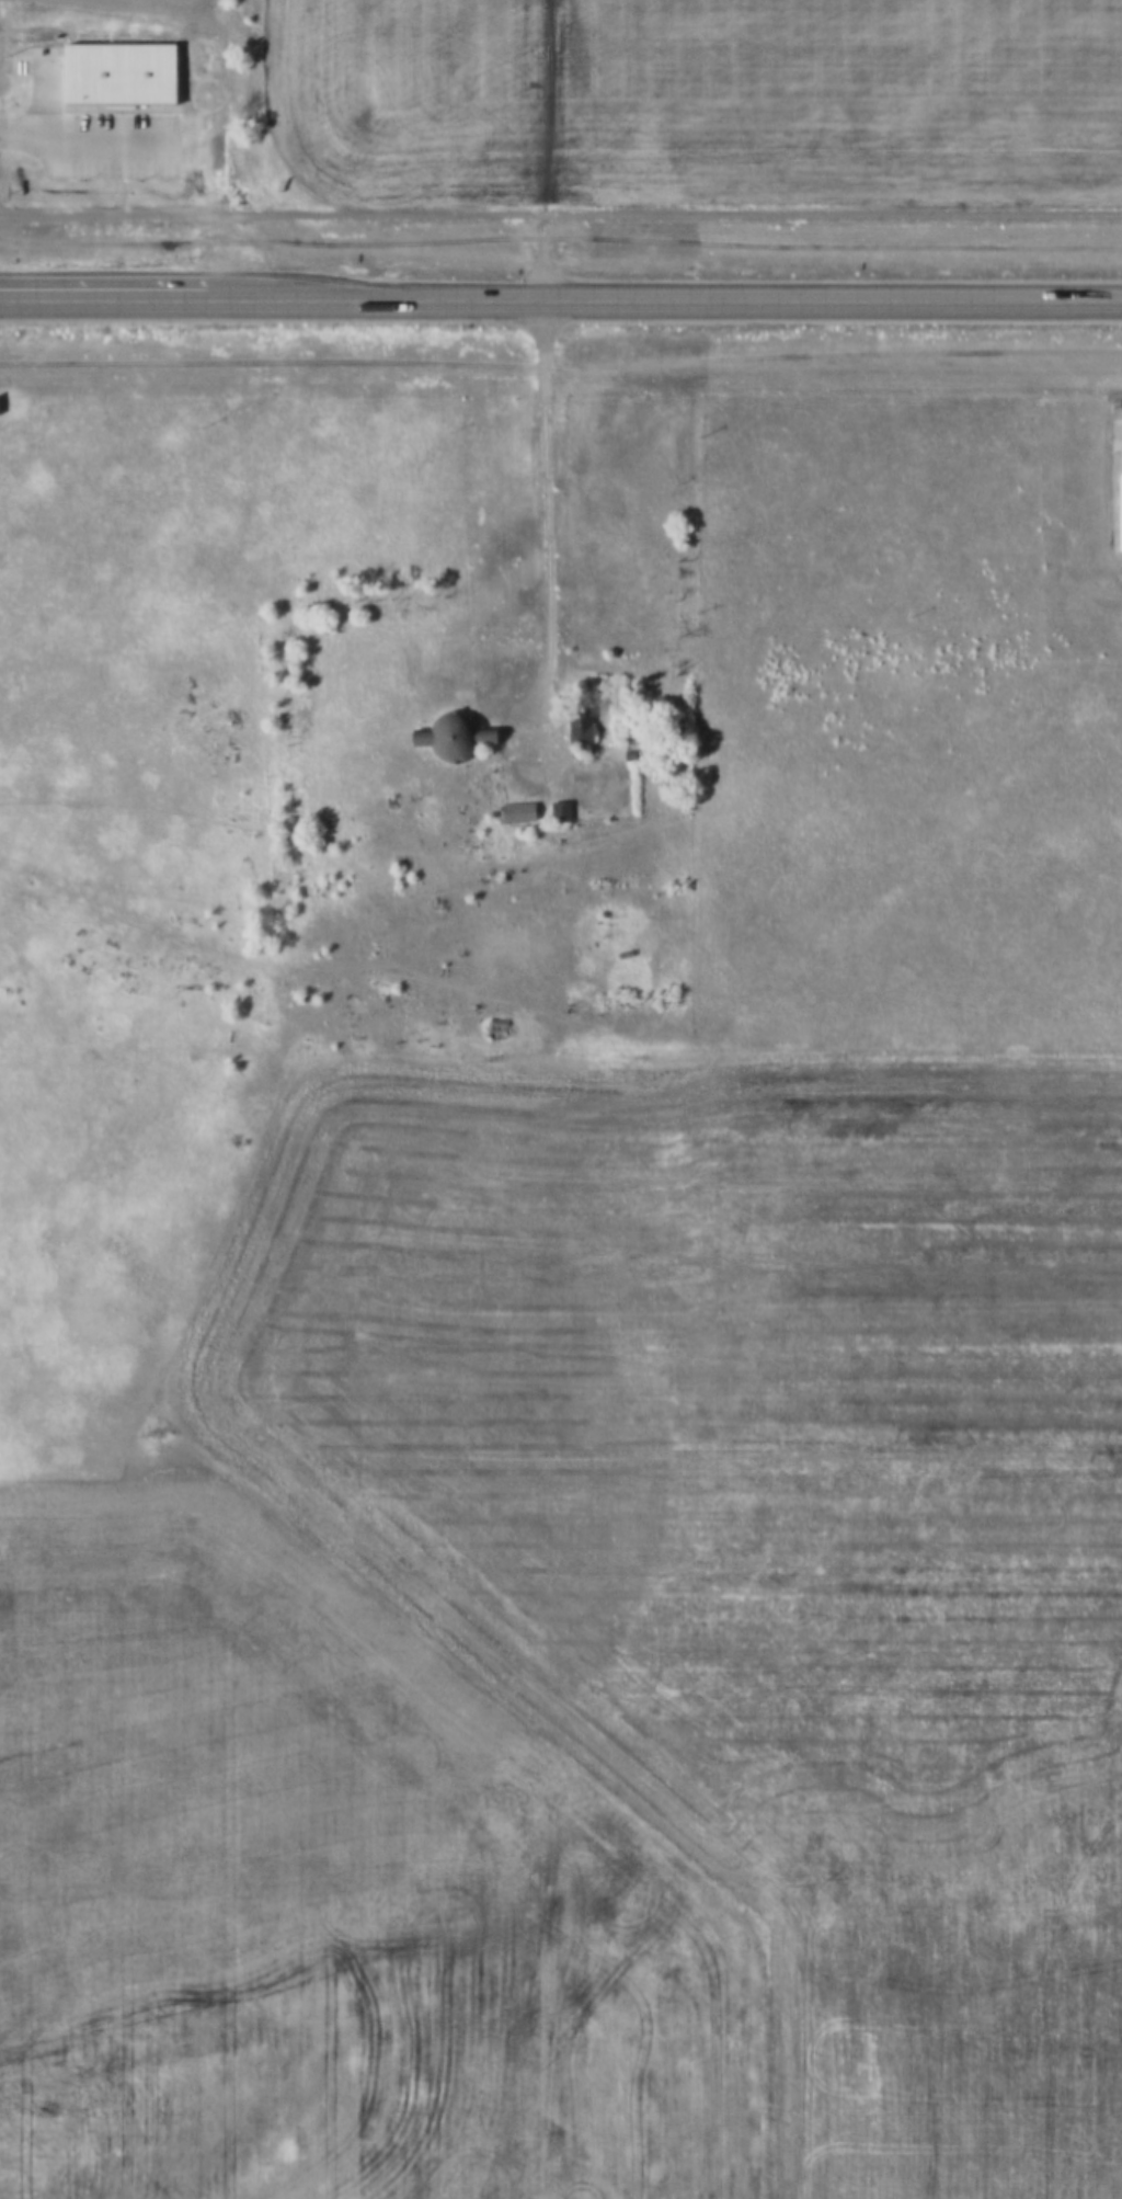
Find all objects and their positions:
building: (54, 148)
building: (78, 167)
road: (149, 184)
road: (560, 214)
road: (102, 295)
road: (663, 298)
road: (548, 527)
building: (573, 726)
building: (447, 734)
building: (623, 753)
building: (385, 801)
building: (553, 807)
building: (512, 809)
building: (618, 954)
building: (491, 1028)

